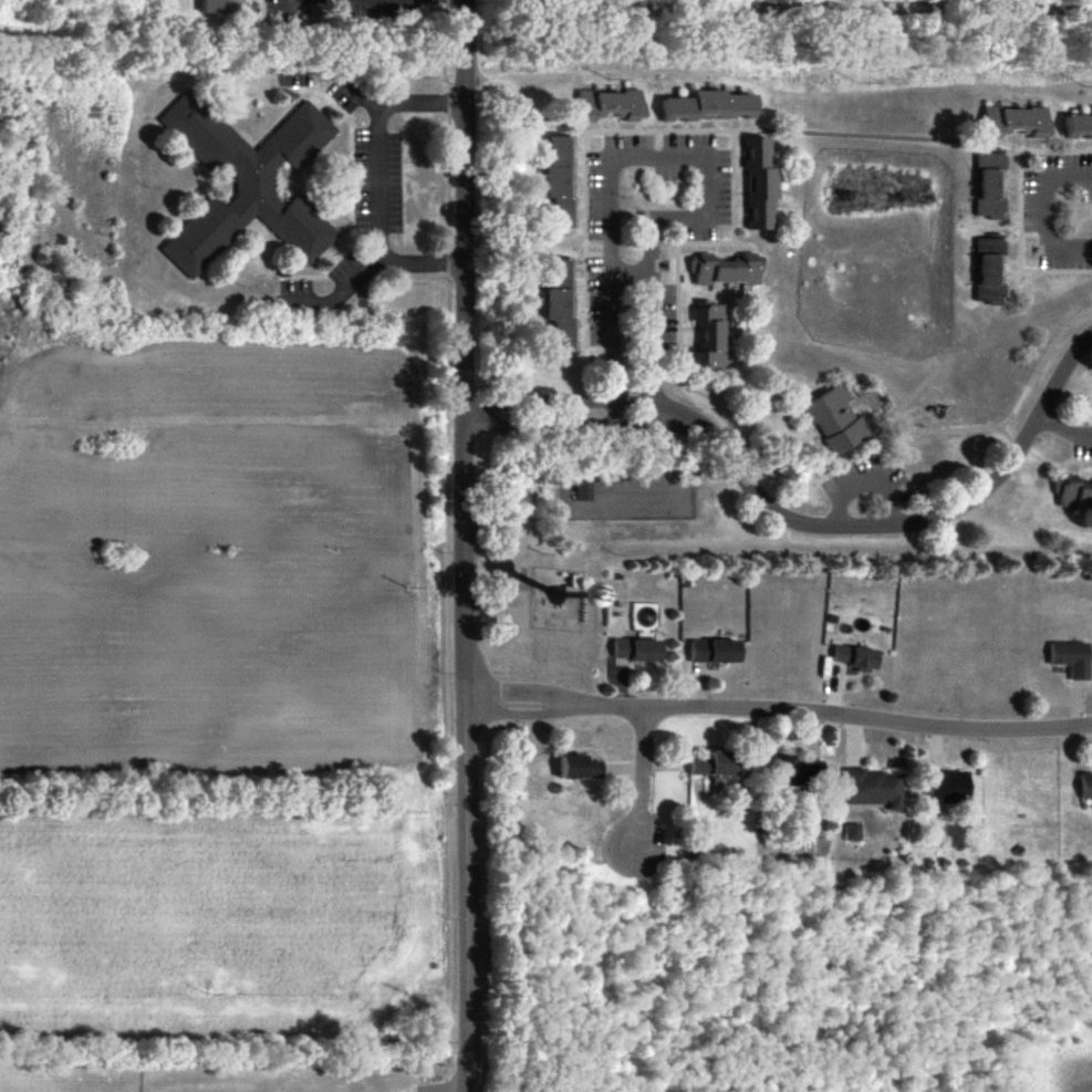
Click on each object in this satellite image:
building: (223, 7)
building: (617, 105)
building: (714, 107)
building: (1010, 123)
building: (1075, 125)
road: (685, 152)
building: (561, 183)
building: (247, 184)
building: (762, 186)
building: (982, 186)
road: (372, 187)
road: (1049, 210)
building: (984, 269)
building: (729, 270)
building: (562, 305)
building: (710, 336)
building: (838, 422)
road: (1062, 433)
building: (1071, 490)
road: (799, 522)
road: (465, 545)
building: (638, 652)
building: (716, 653)
building: (857, 657)
building: (1068, 659)
road: (778, 708)
building: (714, 765)
building: (579, 769)
building: (799, 772)
road: (643, 783)
building: (949, 788)
building: (1084, 788)
building: (875, 789)

